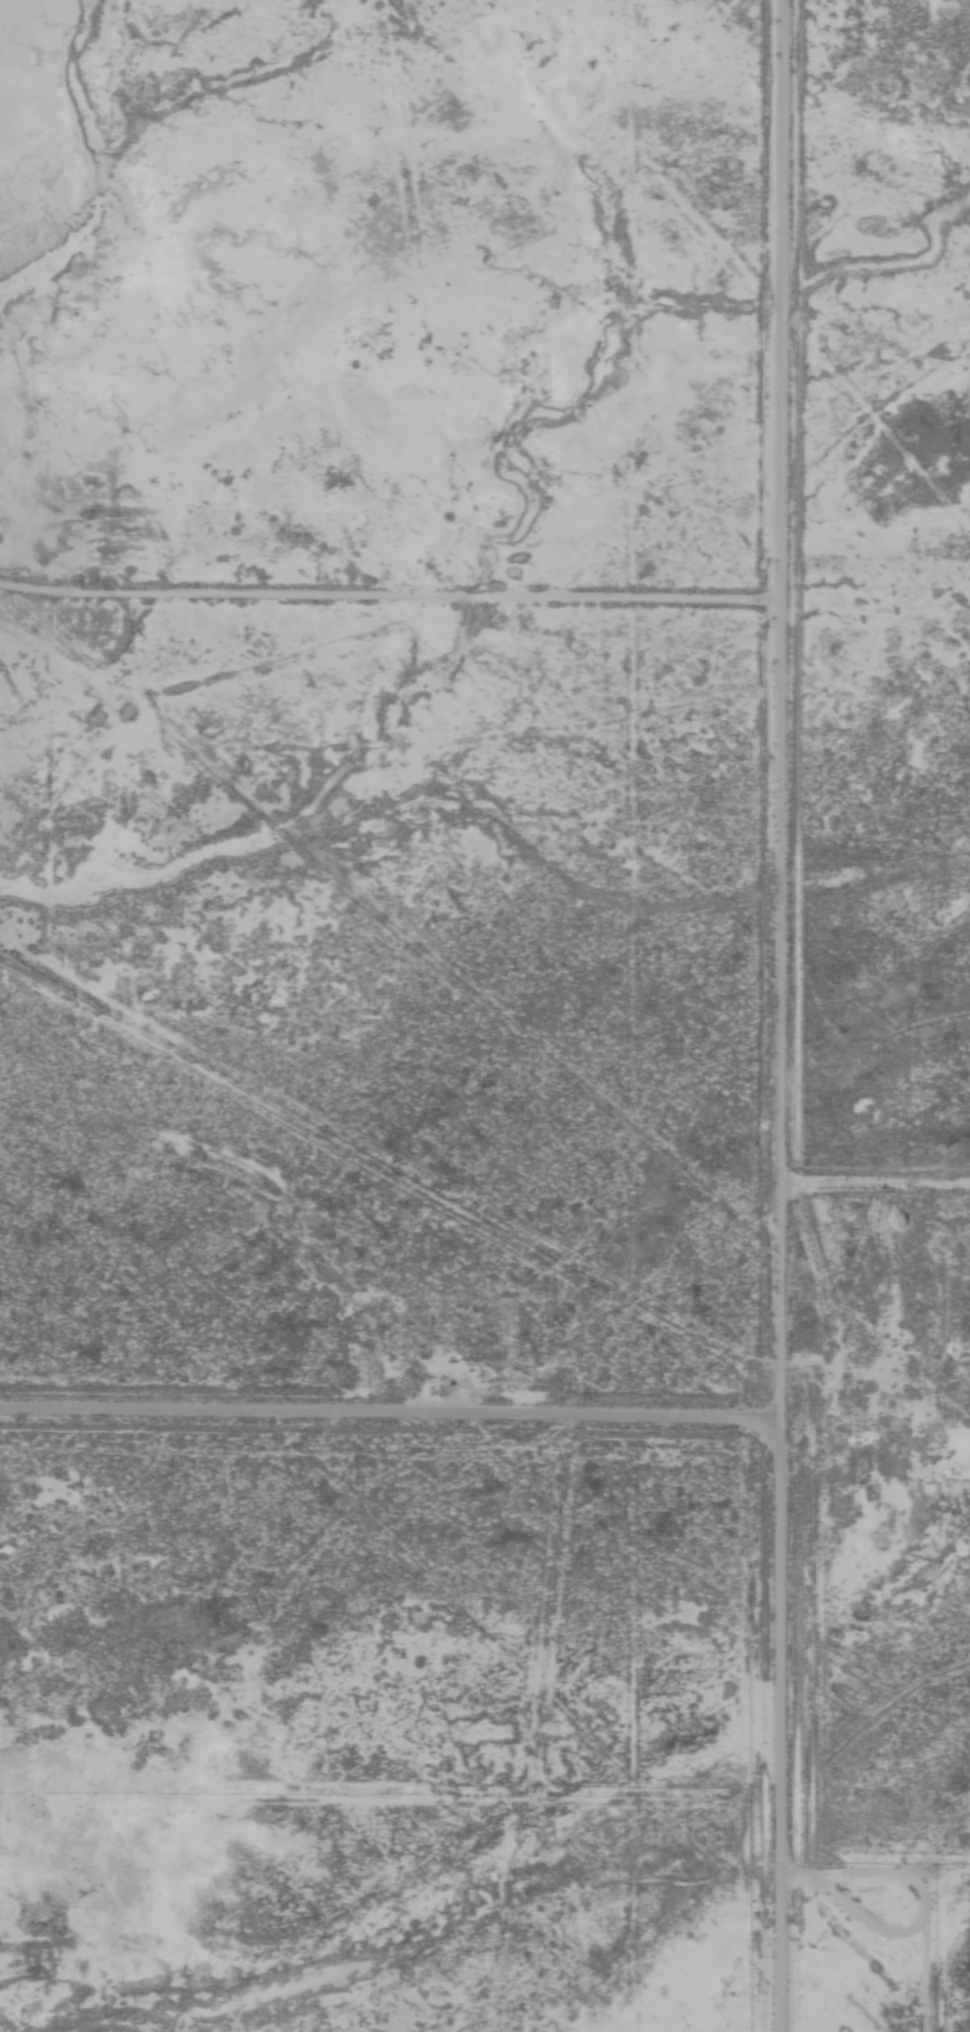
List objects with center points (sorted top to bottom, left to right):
road: (391, 601)
road: (783, 1016)
road: (876, 1193)
road: (388, 1429)

